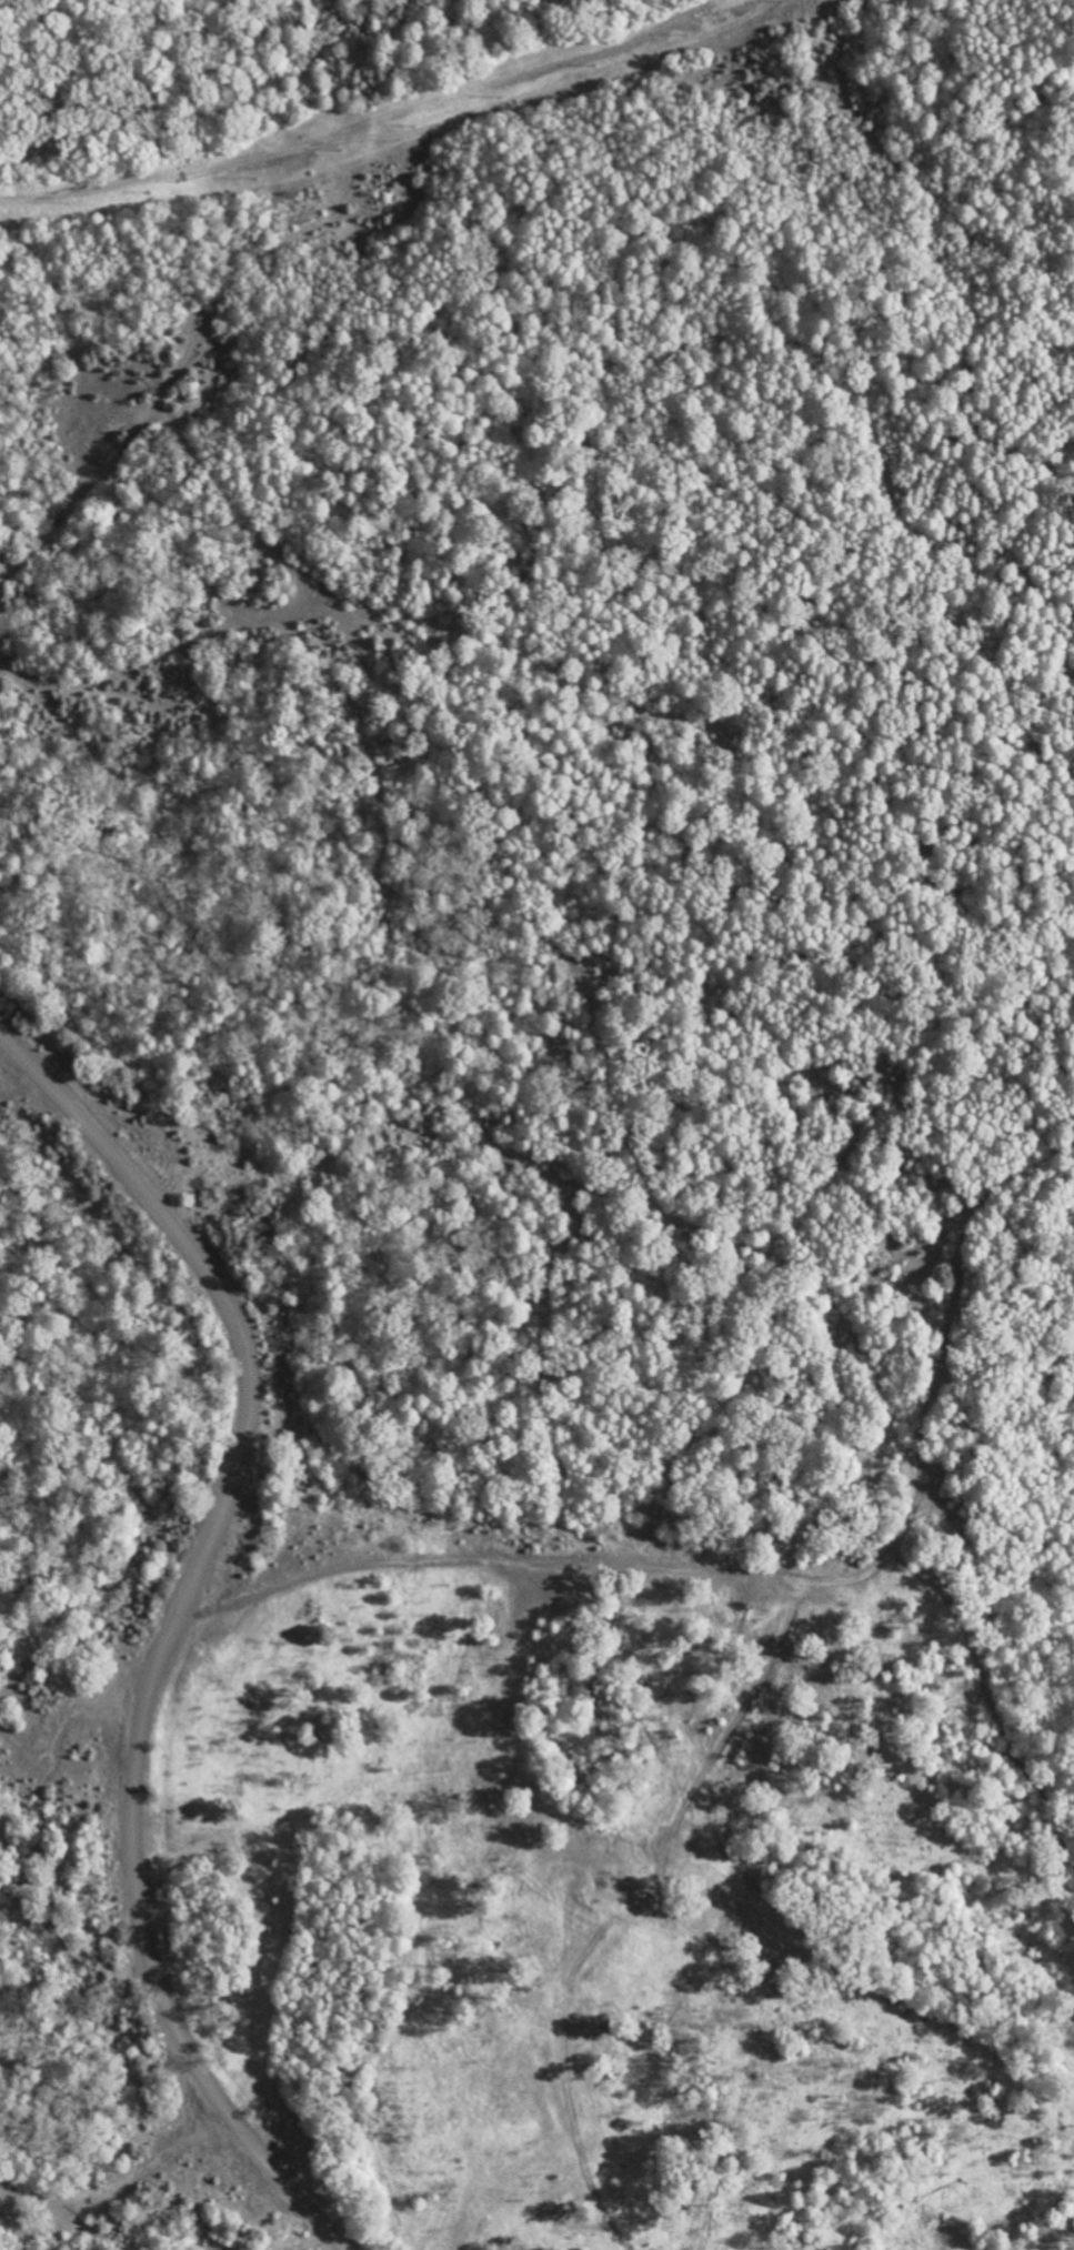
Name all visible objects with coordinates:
road: (462, 1563)
road: (171, 1627)

